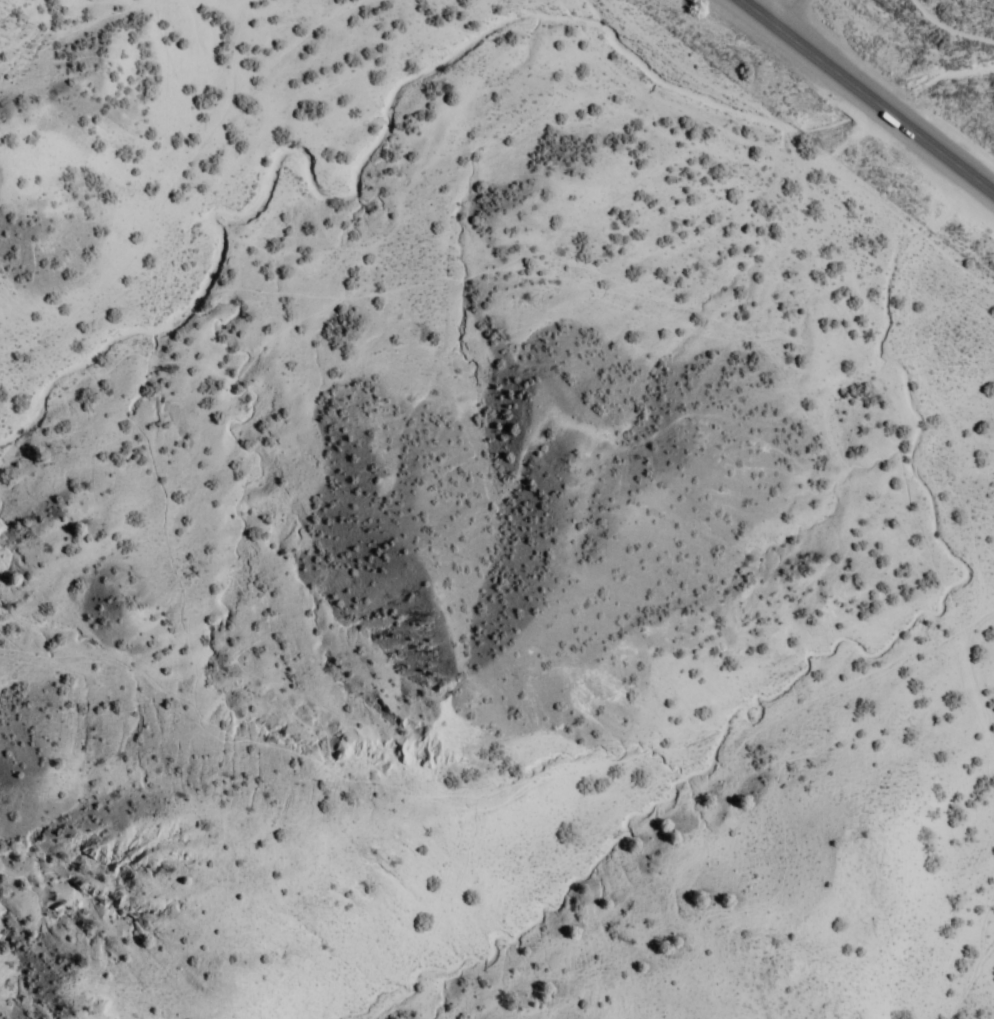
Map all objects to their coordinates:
road: (772, 8)
road: (868, 95)

